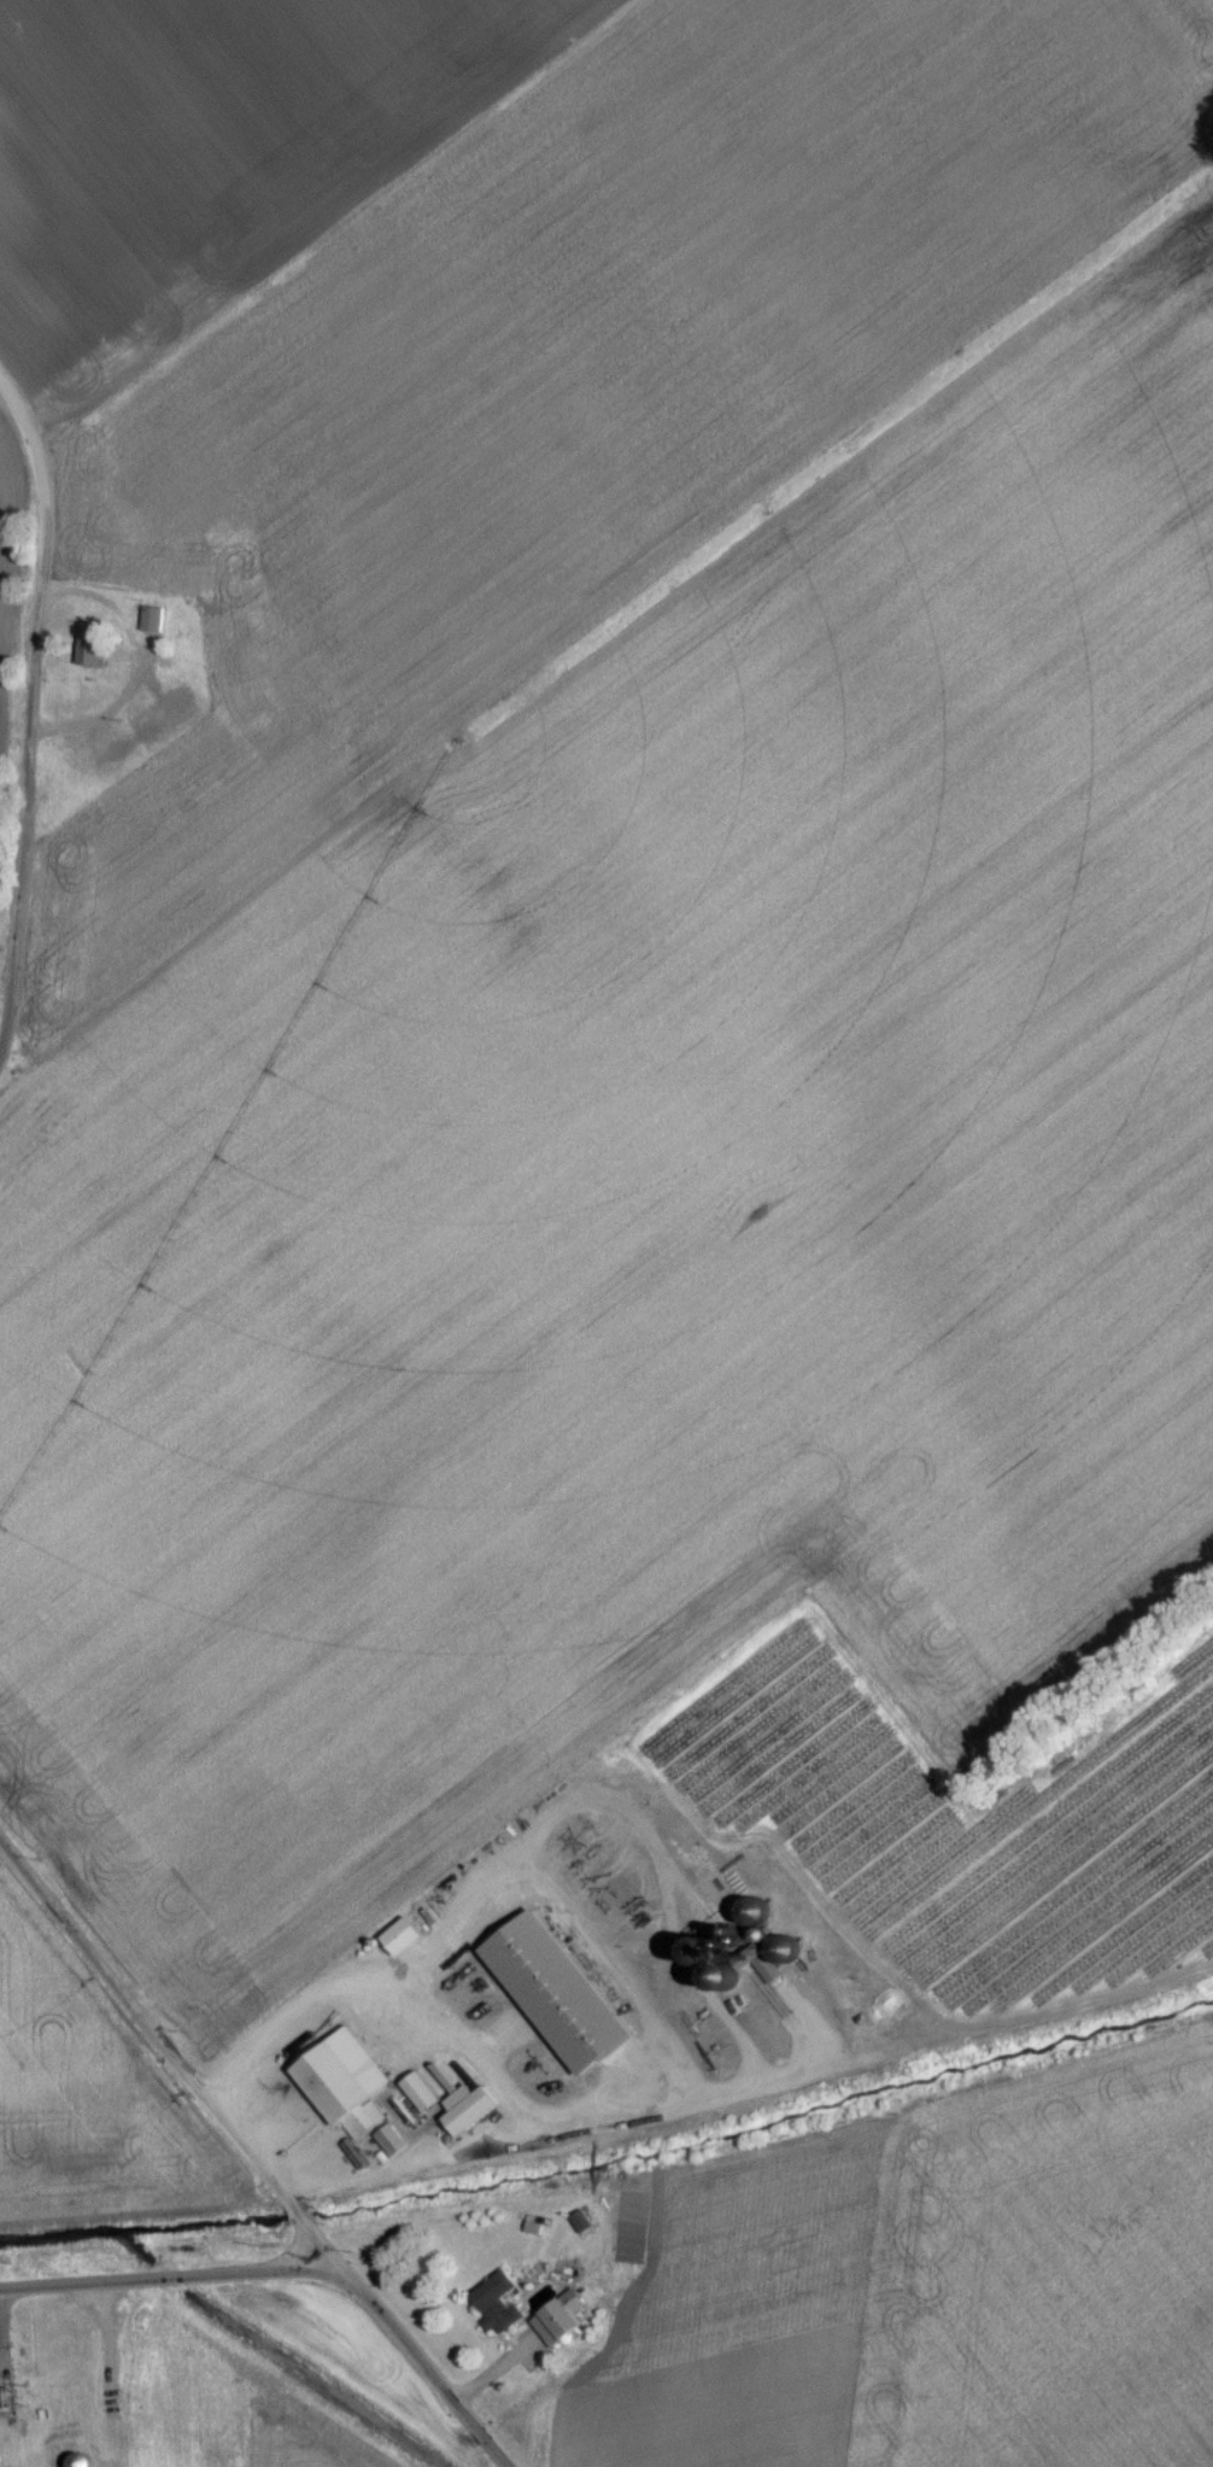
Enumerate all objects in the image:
building: (152, 630)
building: (92, 656)
road: (33, 723)
building: (402, 1946)
road: (616, 1964)
building: (556, 2001)
building: (342, 2091)
building: (421, 2101)
building: (468, 2118)
road: (247, 2159)
building: (580, 2232)
road: (165, 2281)
building: (497, 2313)
building: (561, 2327)
building: (1, 2408)
building: (81, 2465)

